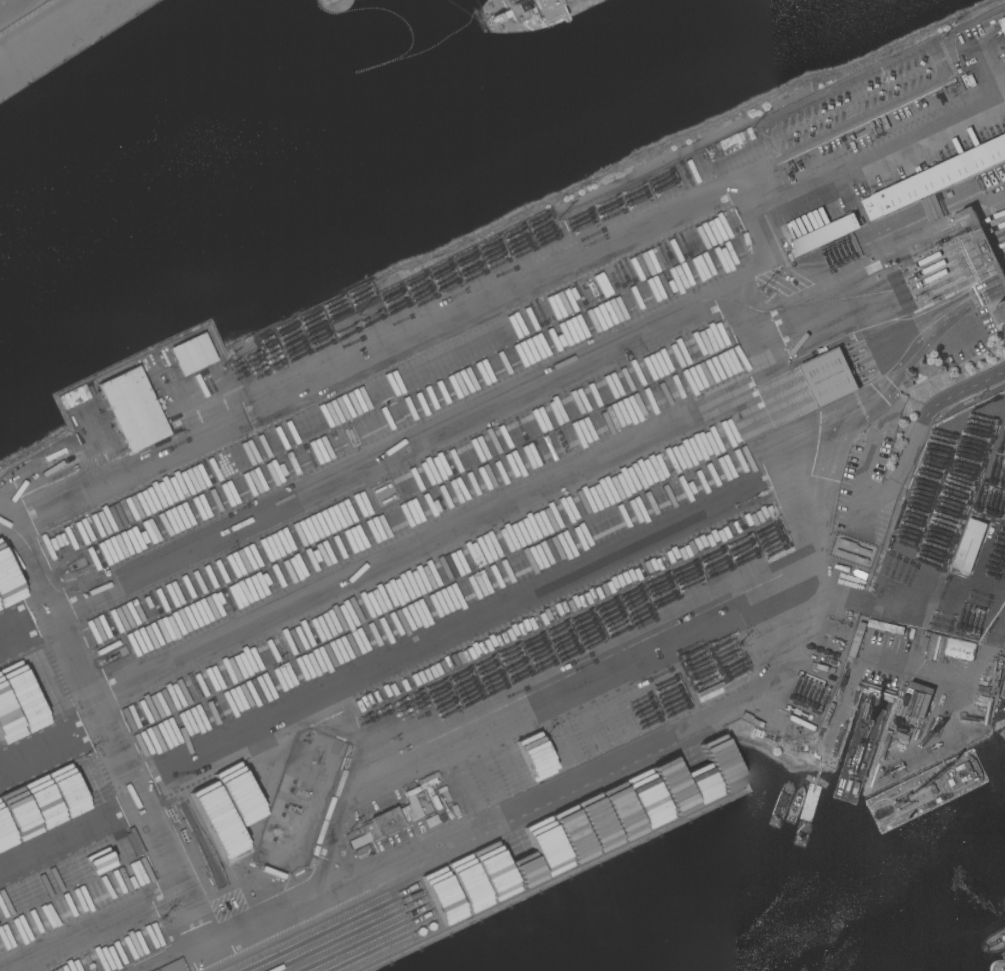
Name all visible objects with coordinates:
building: (1003, 22)
building: (727, 147)
building: (934, 178)
building: (822, 235)
building: (983, 247)
building: (1000, 312)
building: (192, 354)
building: (823, 365)
road: (886, 380)
building: (833, 387)
road: (970, 390)
building: (71, 398)
building: (132, 409)
road: (472, 410)
road: (224, 420)
road: (877, 514)
building: (970, 545)
road: (378, 558)
road: (393, 655)
road: (958, 683)
building: (1004, 695)
road: (533, 713)
building: (423, 787)
road: (544, 787)
building: (325, 820)
building: (385, 822)
building: (415, 909)
road: (95, 929)

